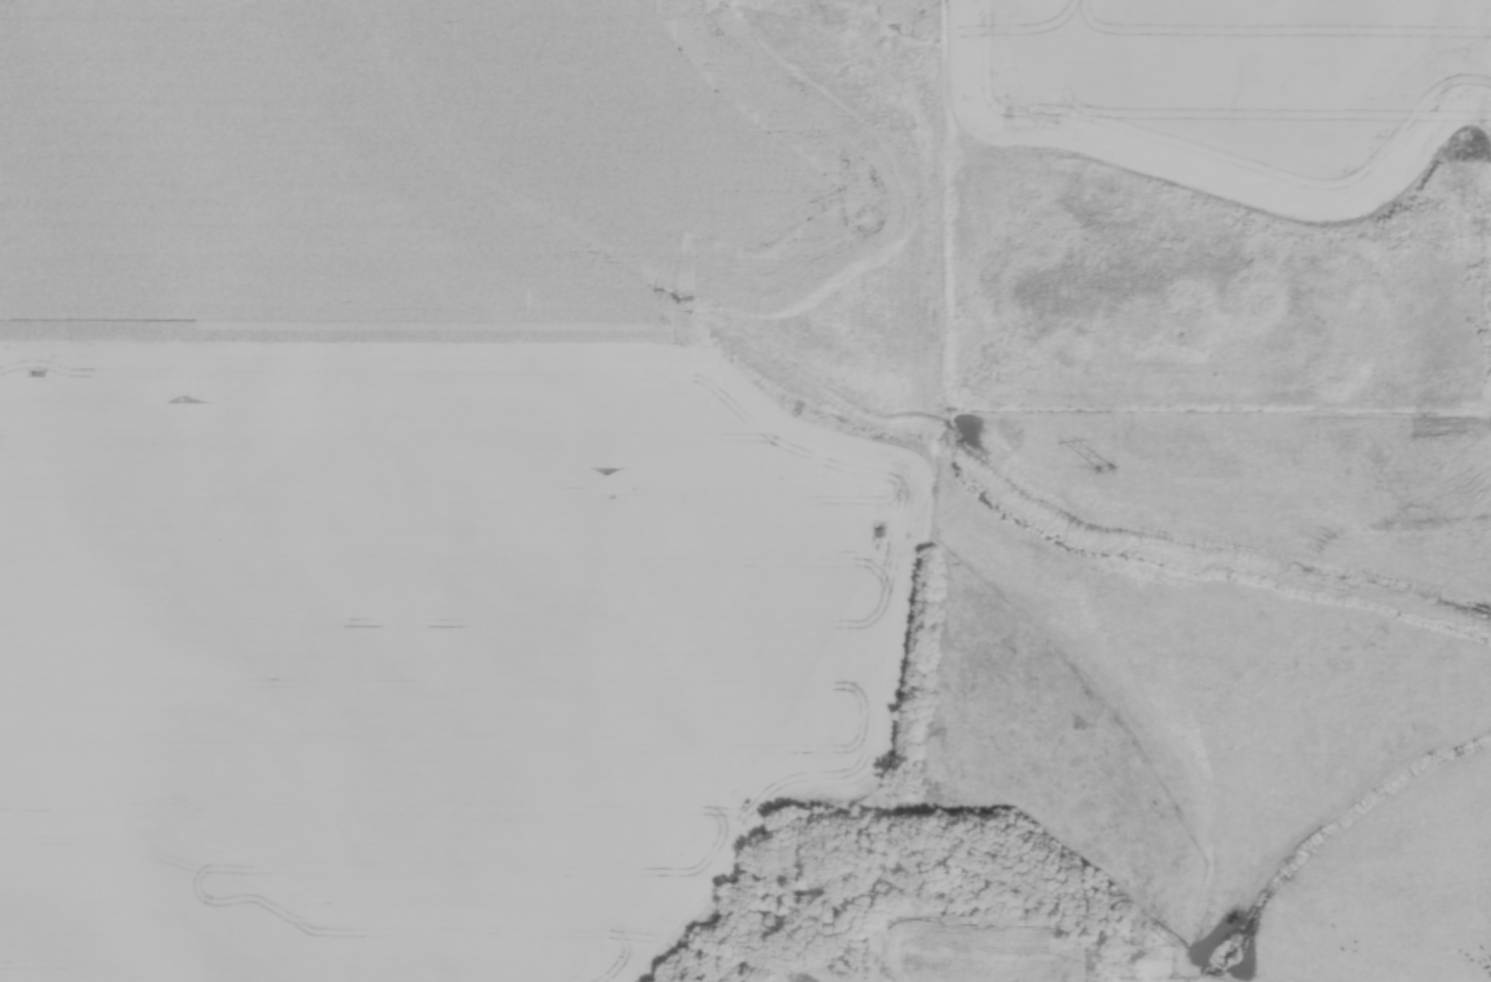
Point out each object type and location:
power tower: (1100, 460)
power tower: (1179, 941)

